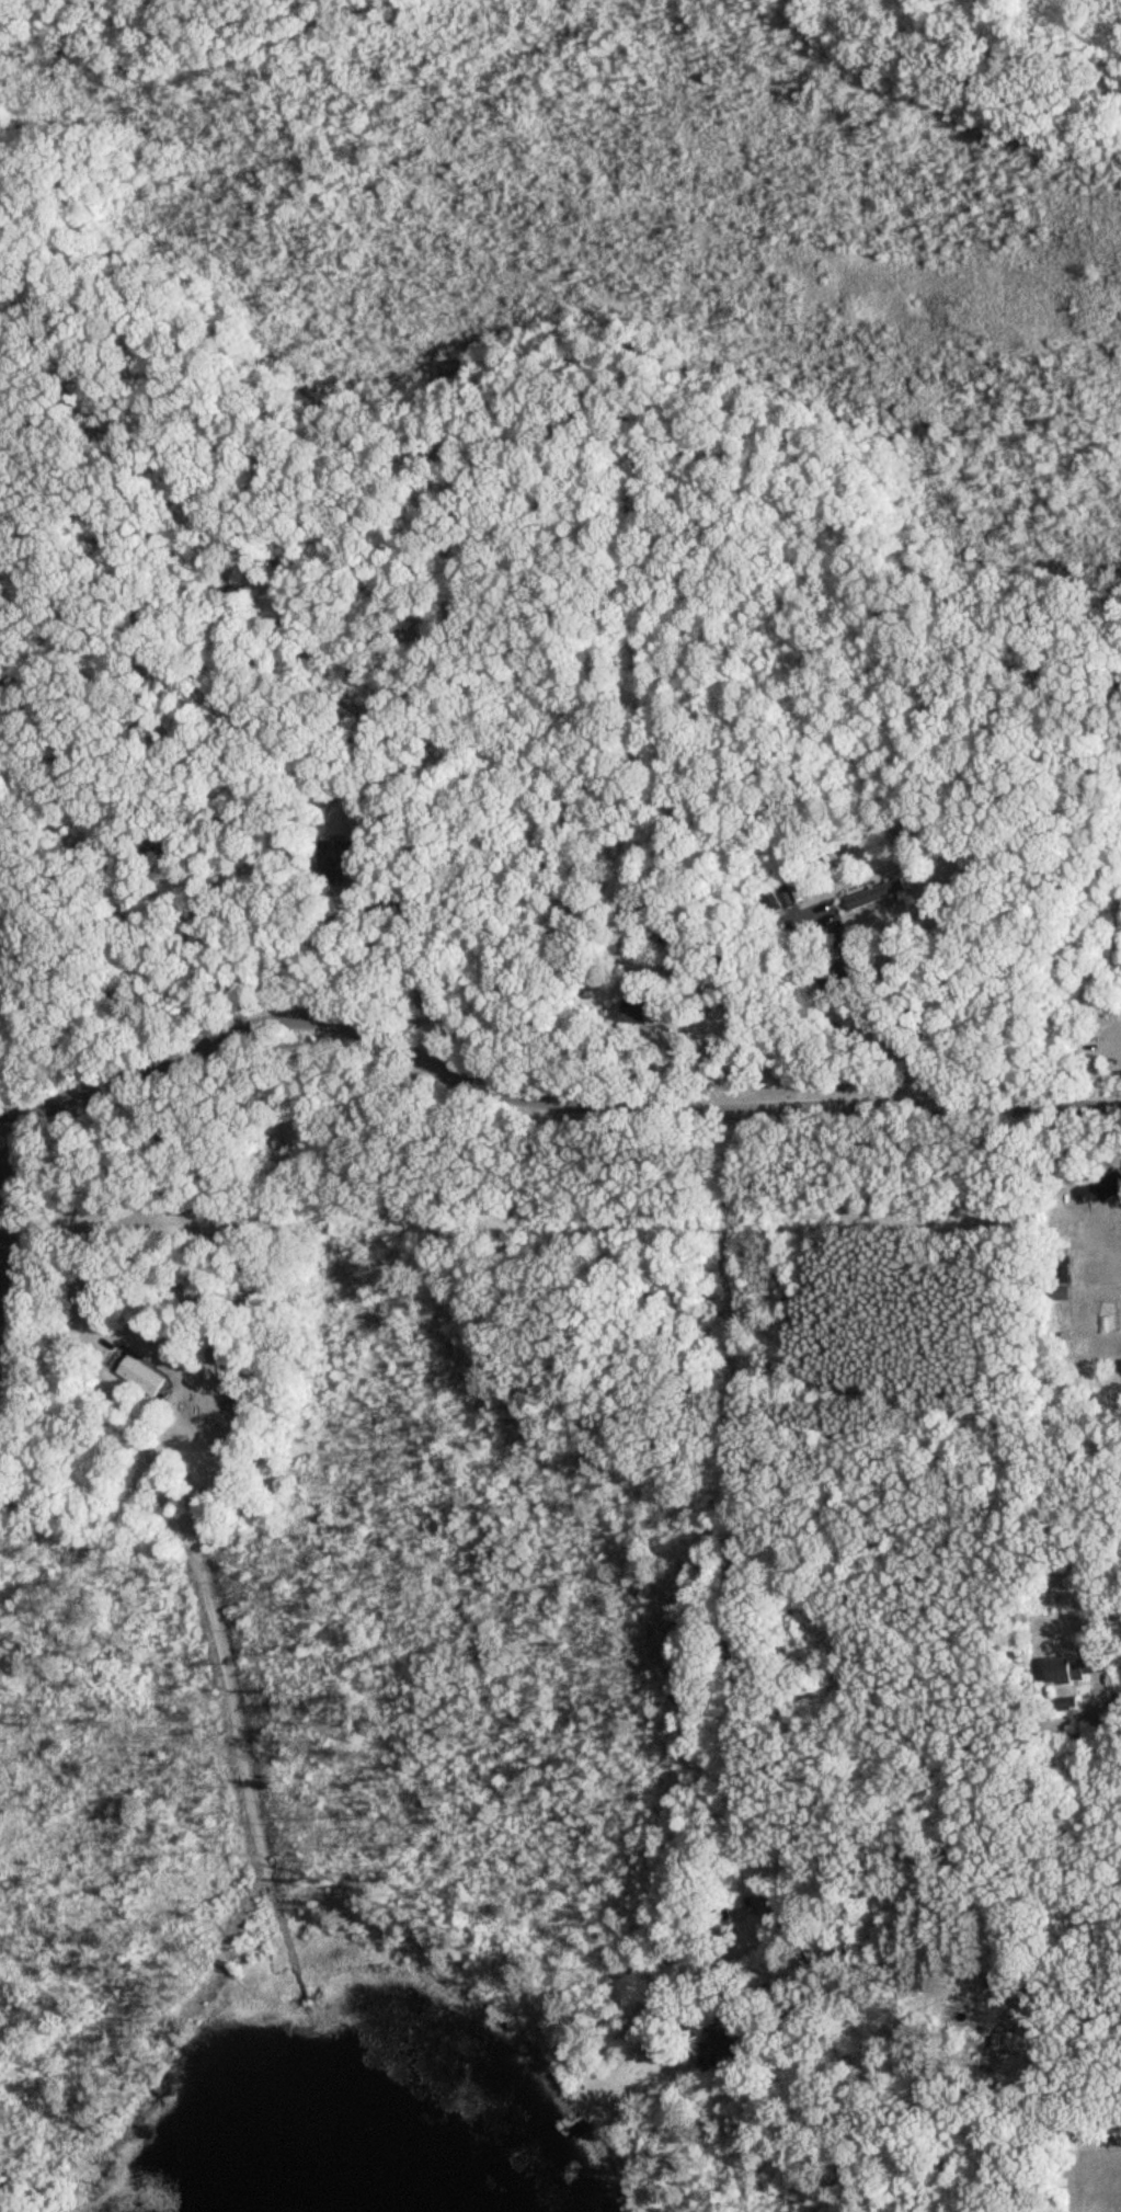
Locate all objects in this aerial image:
building: (341, 853)
building: (886, 896)
road: (431, 977)
road: (862, 1015)
road: (732, 1042)
road: (1102, 1054)
road: (542, 1090)
road: (721, 1262)
road: (785, 1329)
building: (142, 1378)
building: (1080, 1668)
road: (1111, 1701)
building: (1068, 1704)
building: (775, 1908)
building: (974, 2019)
building: (722, 2048)
building: (3, 2208)

